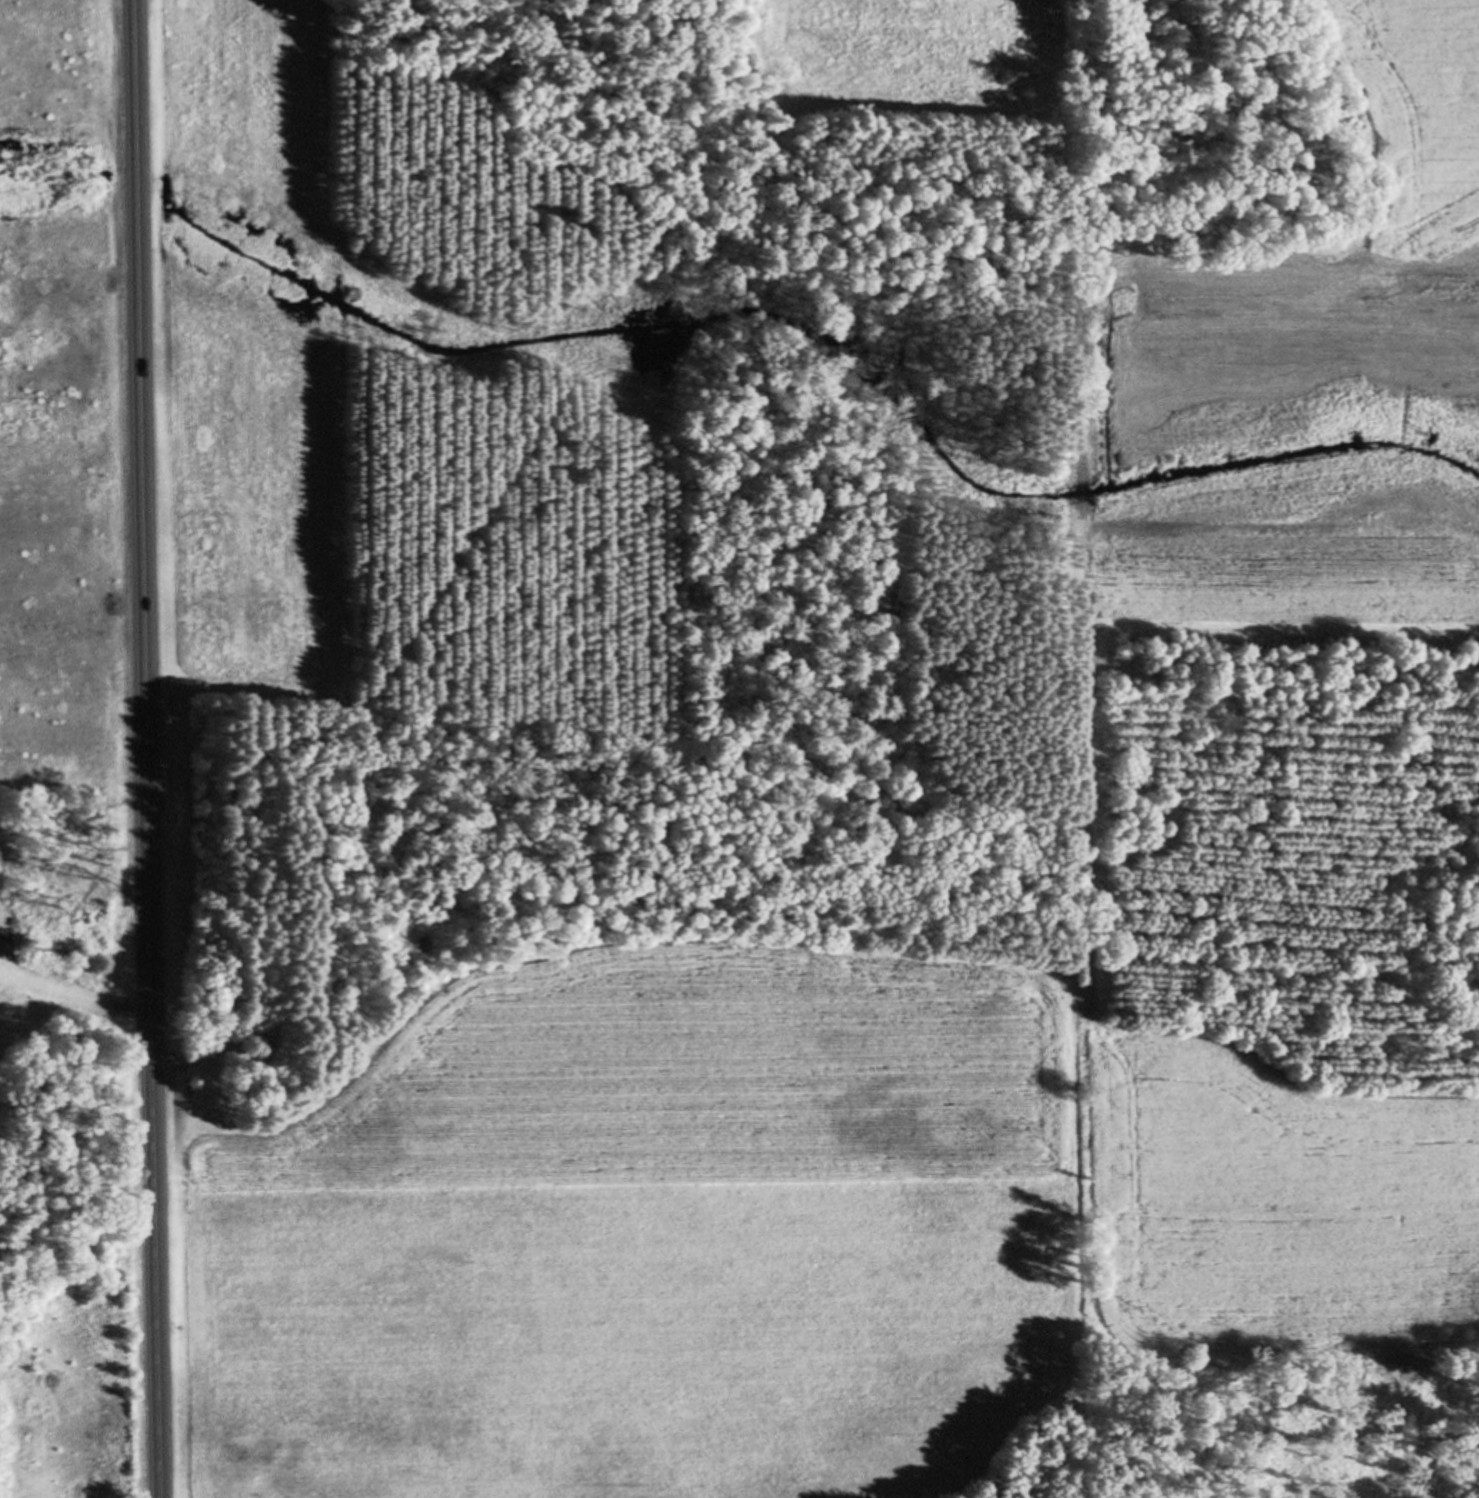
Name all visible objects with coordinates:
road: (142, 749)
building: (1, 1035)

